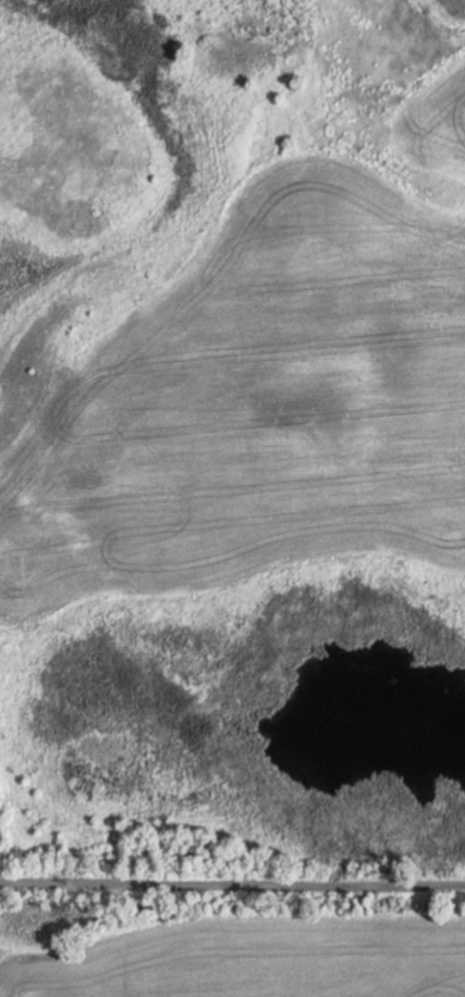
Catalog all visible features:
road: (232, 880)

